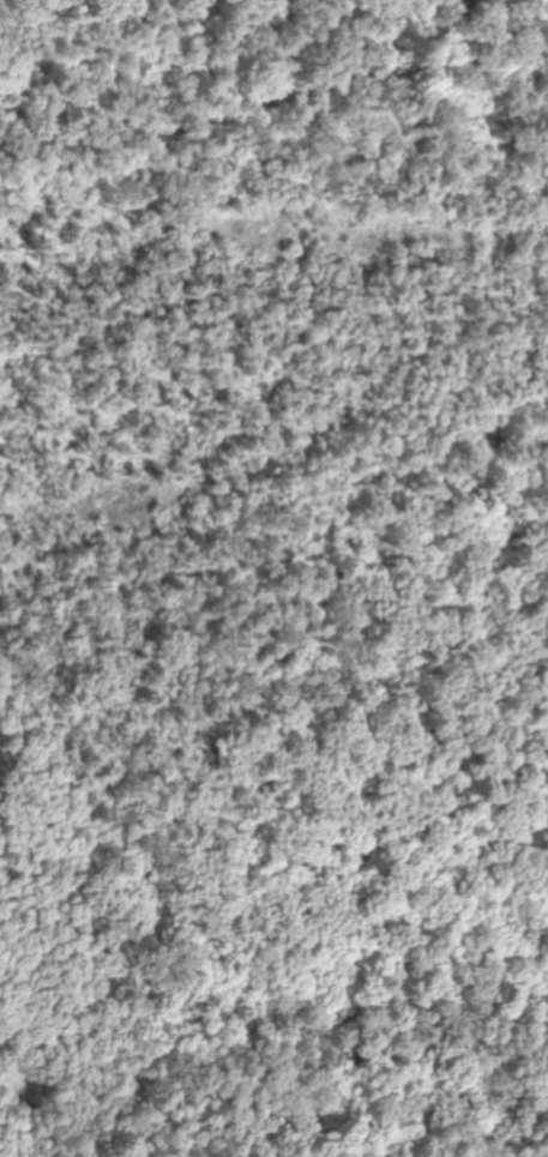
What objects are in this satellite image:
road: (157, 37)
park: (252, 482)

